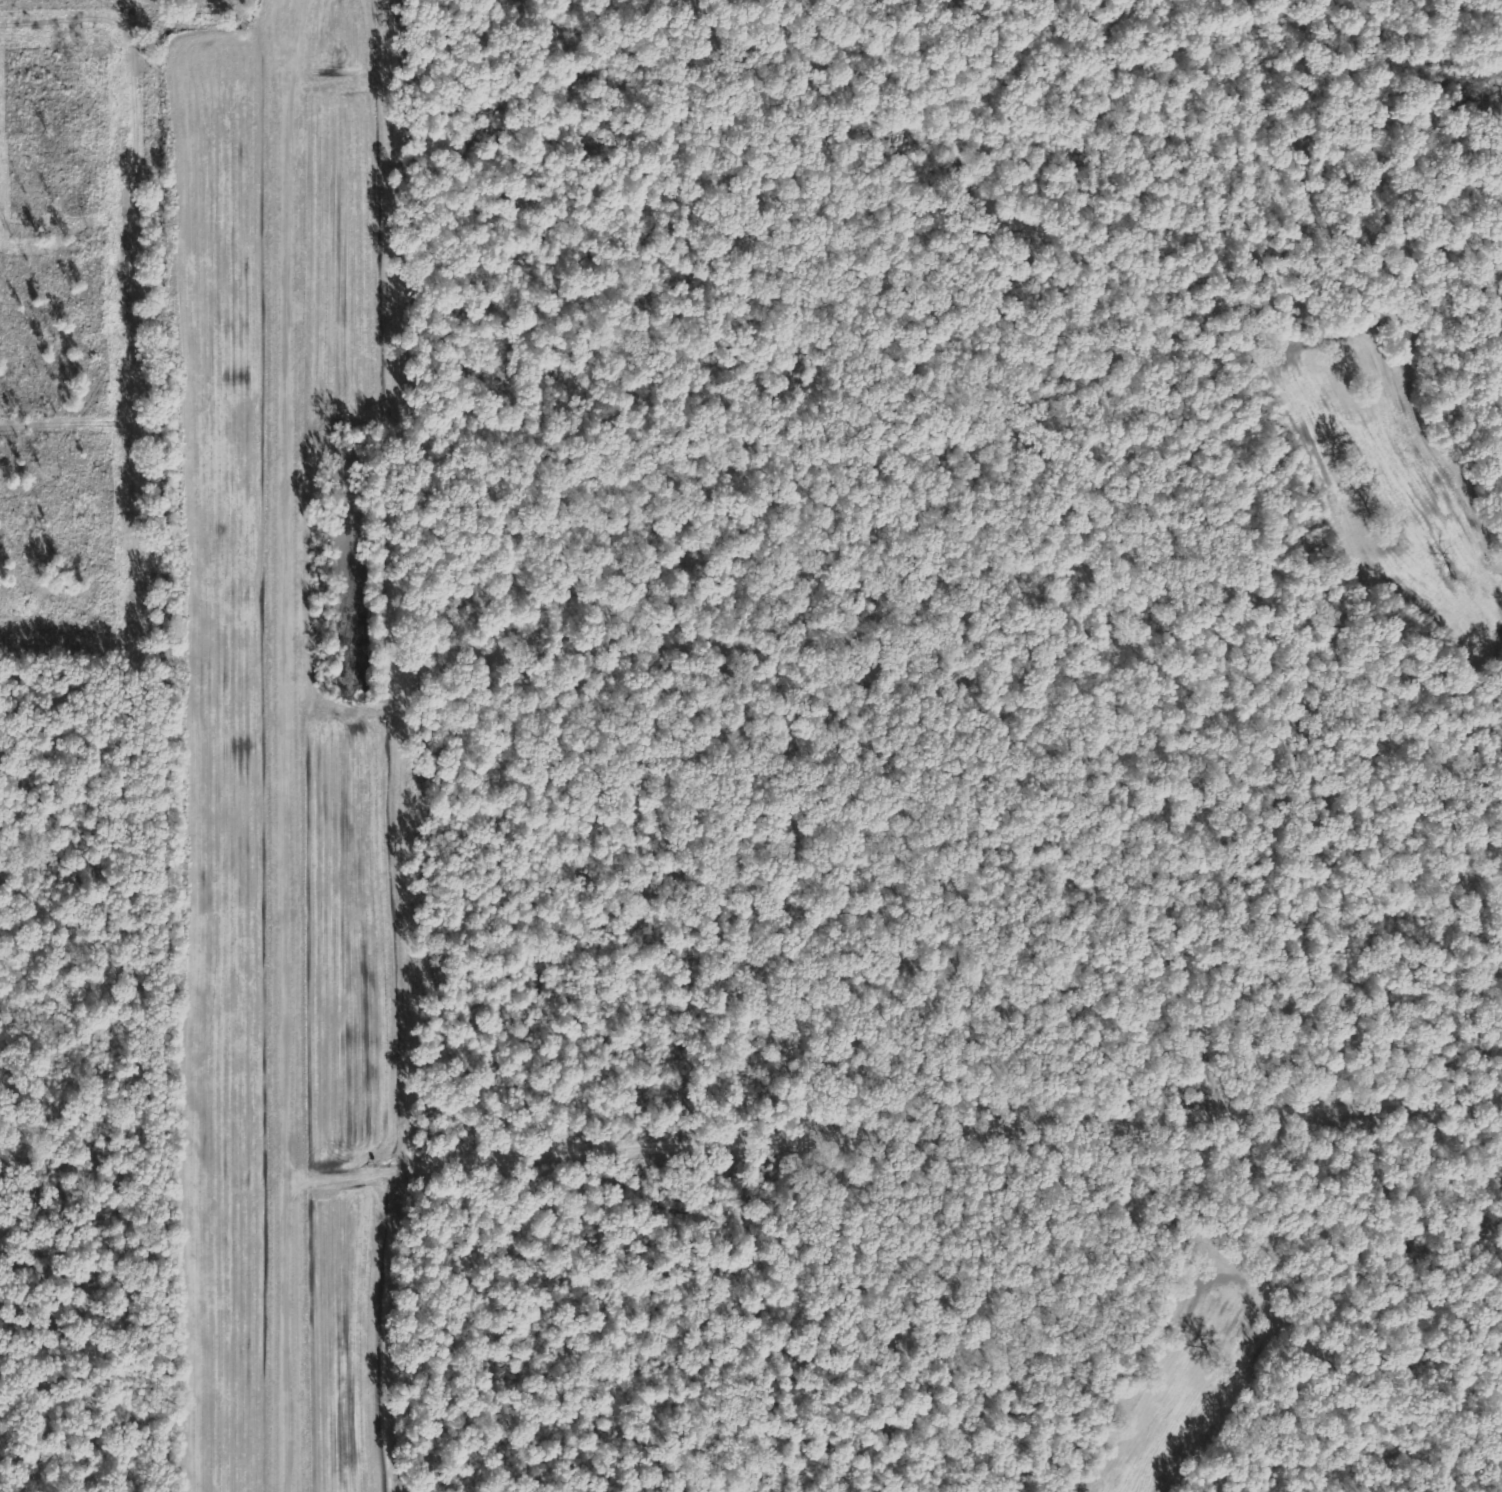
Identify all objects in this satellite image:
road: (1177, 1190)

